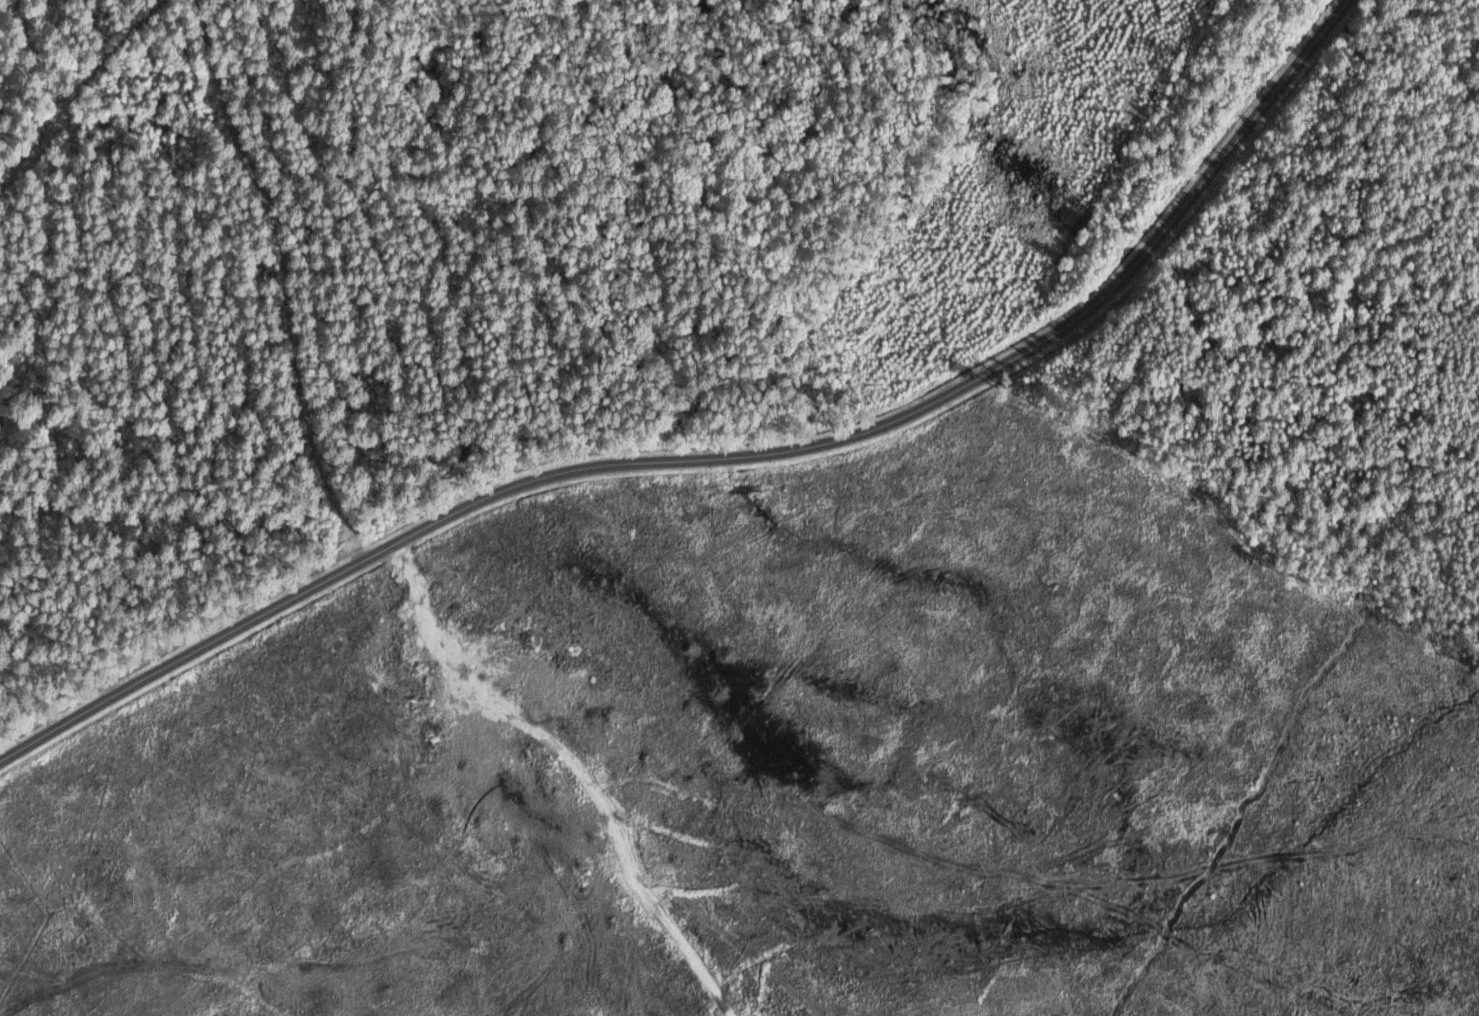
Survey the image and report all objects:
road: (729, 461)

